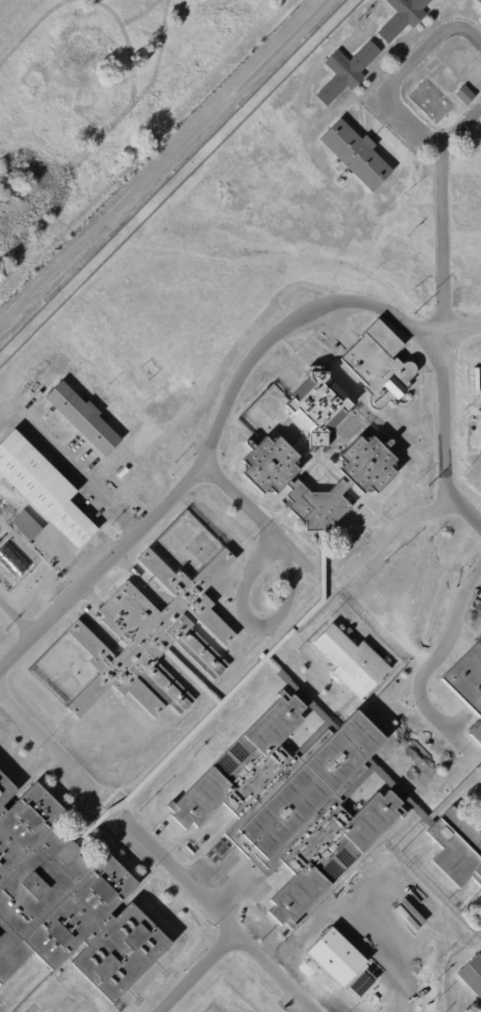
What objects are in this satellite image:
building: (479, 1)
building: (480, 12)
building: (401, 17)
building: (345, 71)
building: (464, 94)
road: (381, 97)
airport: (102, 103)
building: (355, 153)
road: (164, 161)
road: (441, 246)
road: (254, 351)
building: (379, 364)
building: (317, 405)
building: (82, 418)
road: (72, 468)
building: (43, 488)
road: (237, 503)
building: (26, 526)
road: (383, 534)
road: (299, 557)
building: (11, 560)
road: (323, 579)
road: (16, 618)
road: (256, 631)
building: (351, 661)
road: (427, 663)
building: (467, 678)
building: (115, 682)
road: (479, 756)
building: (456, 848)
road: (158, 852)
building: (67, 900)
road: (195, 971)
building: (472, 977)

